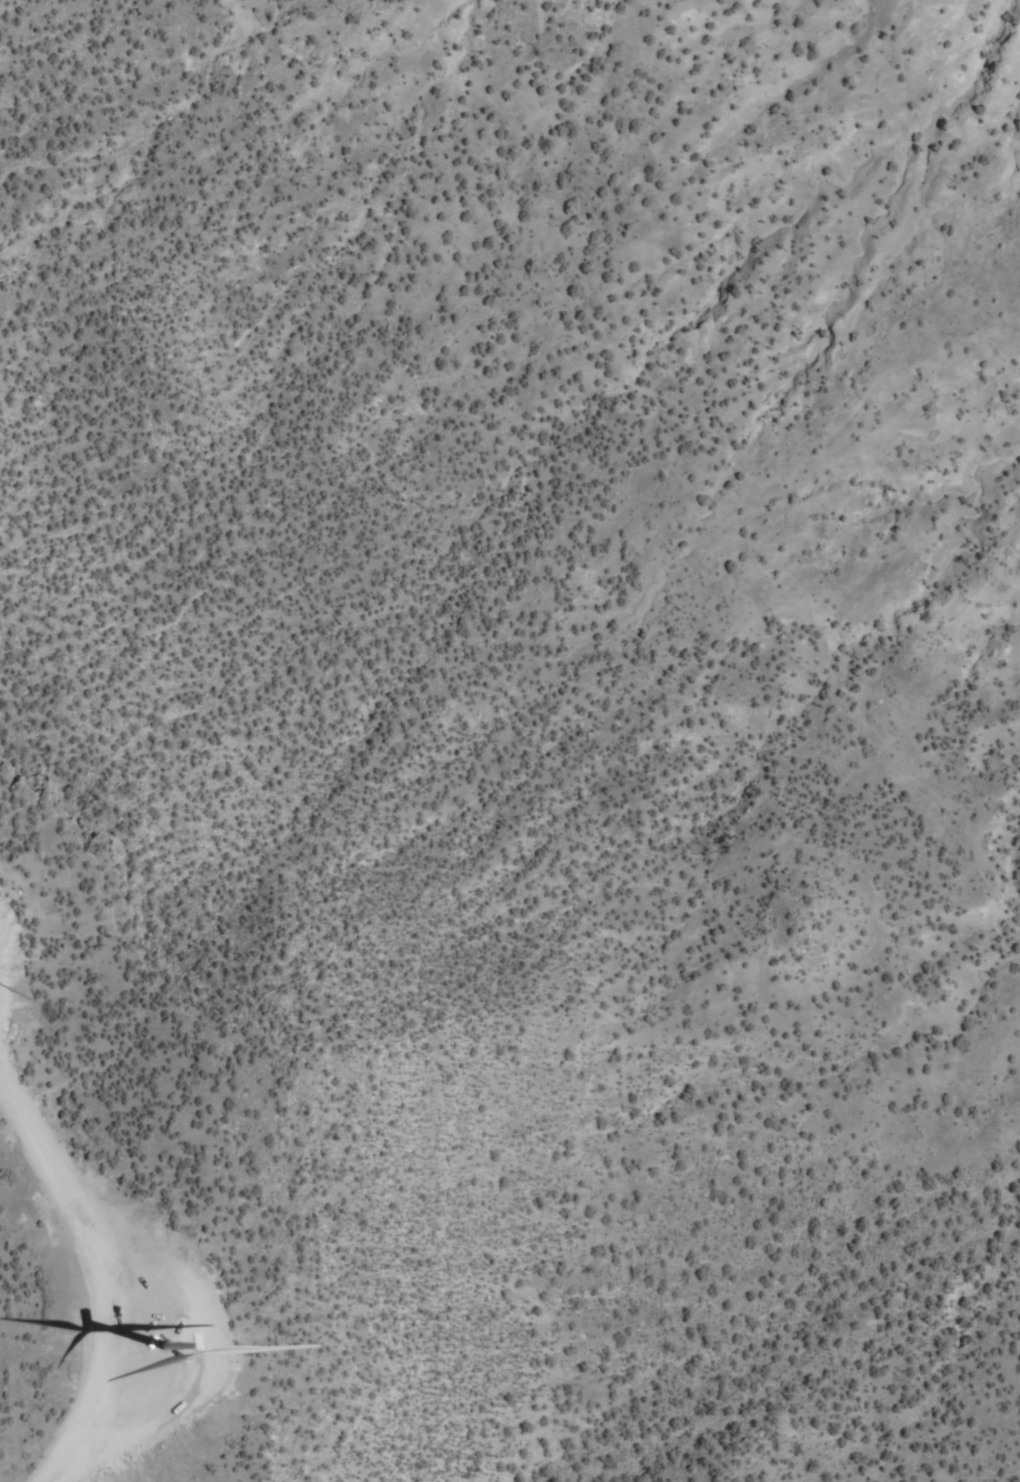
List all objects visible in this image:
wind turbine: (175, 1353)

